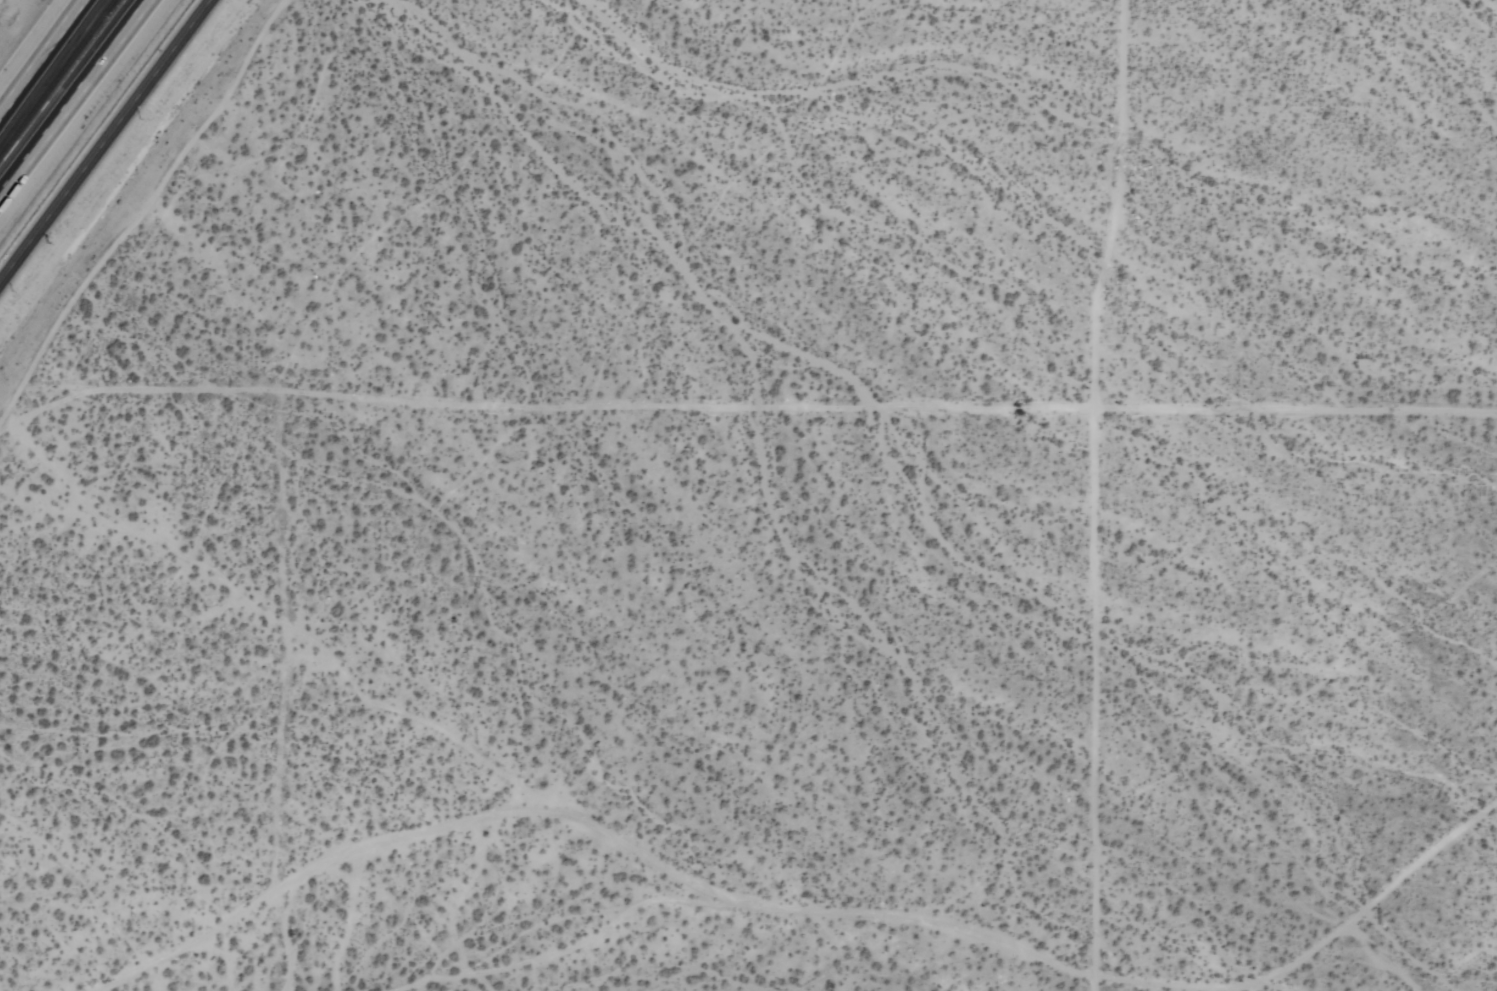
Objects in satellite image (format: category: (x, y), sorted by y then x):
road: (45, 61)
railway: (58, 79)
road: (69, 92)
road: (103, 138)
road: (758, 407)
road: (1093, 494)

